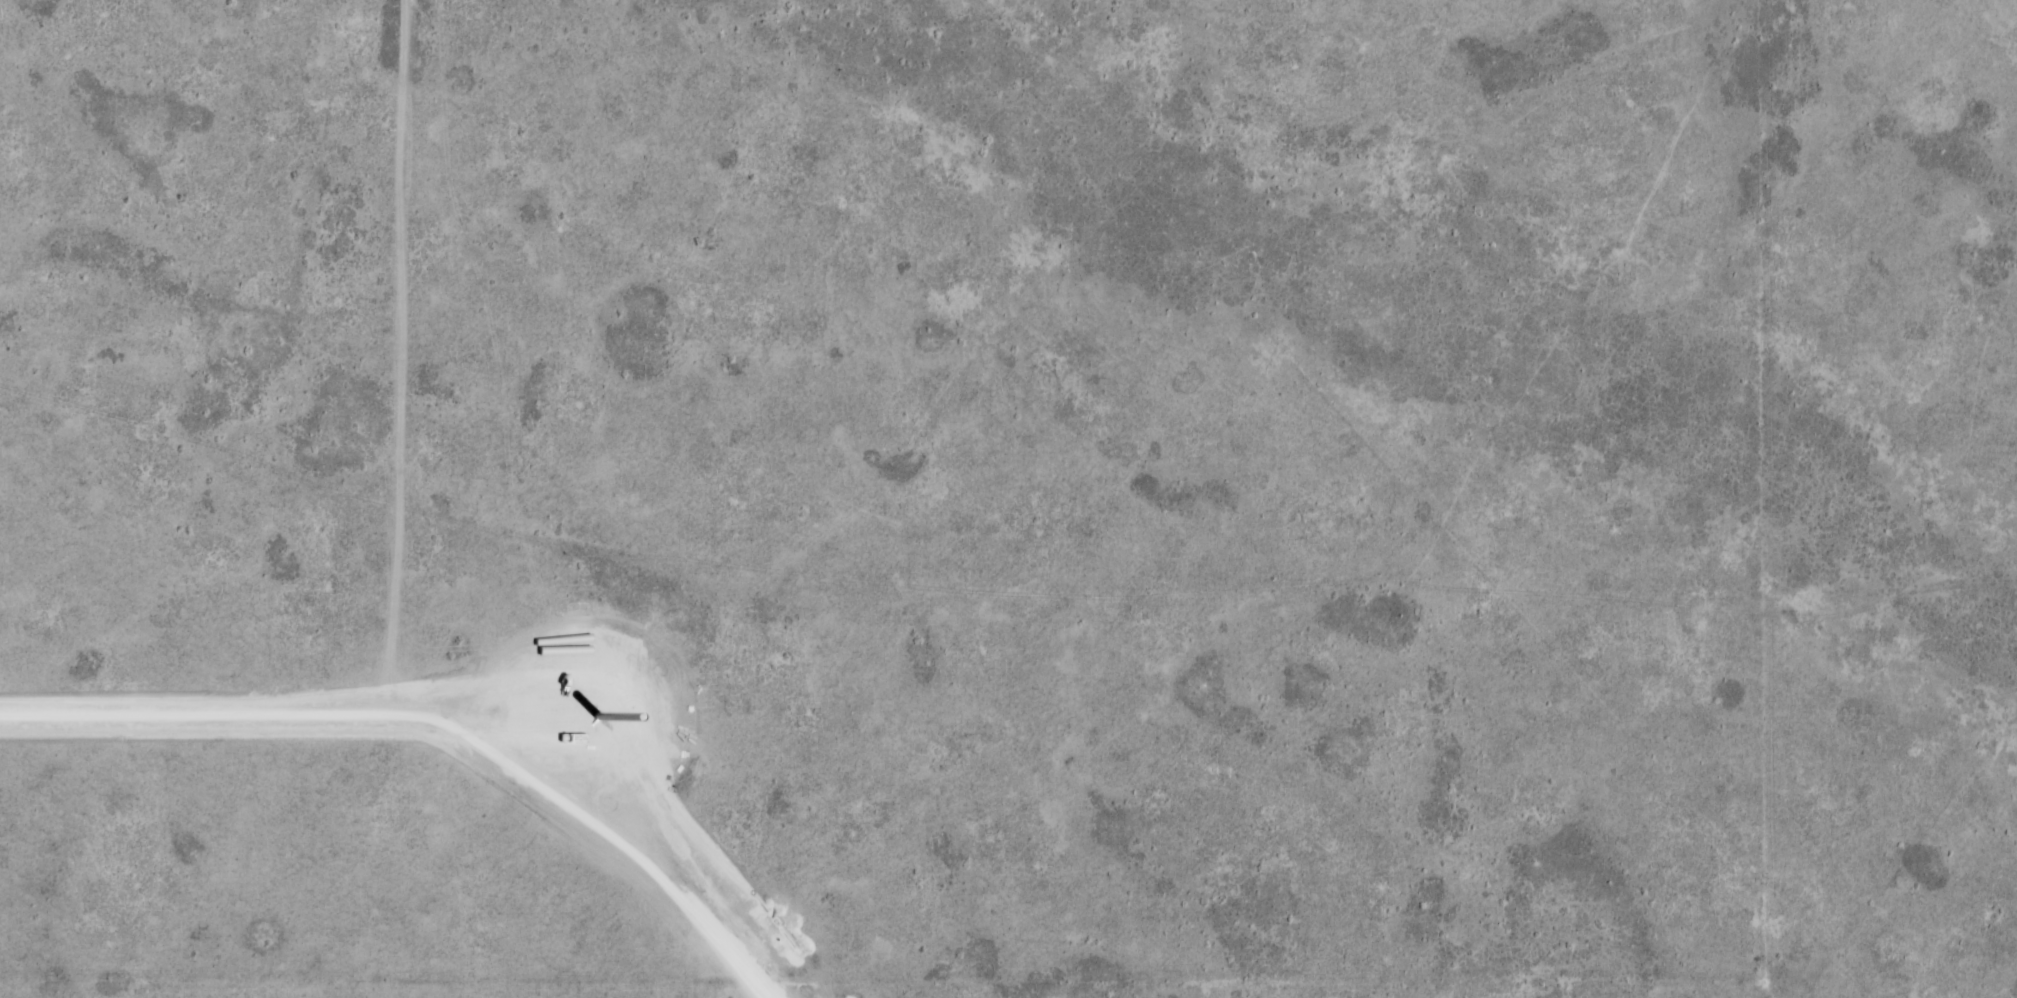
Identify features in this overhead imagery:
wind turbine: (592, 715)

